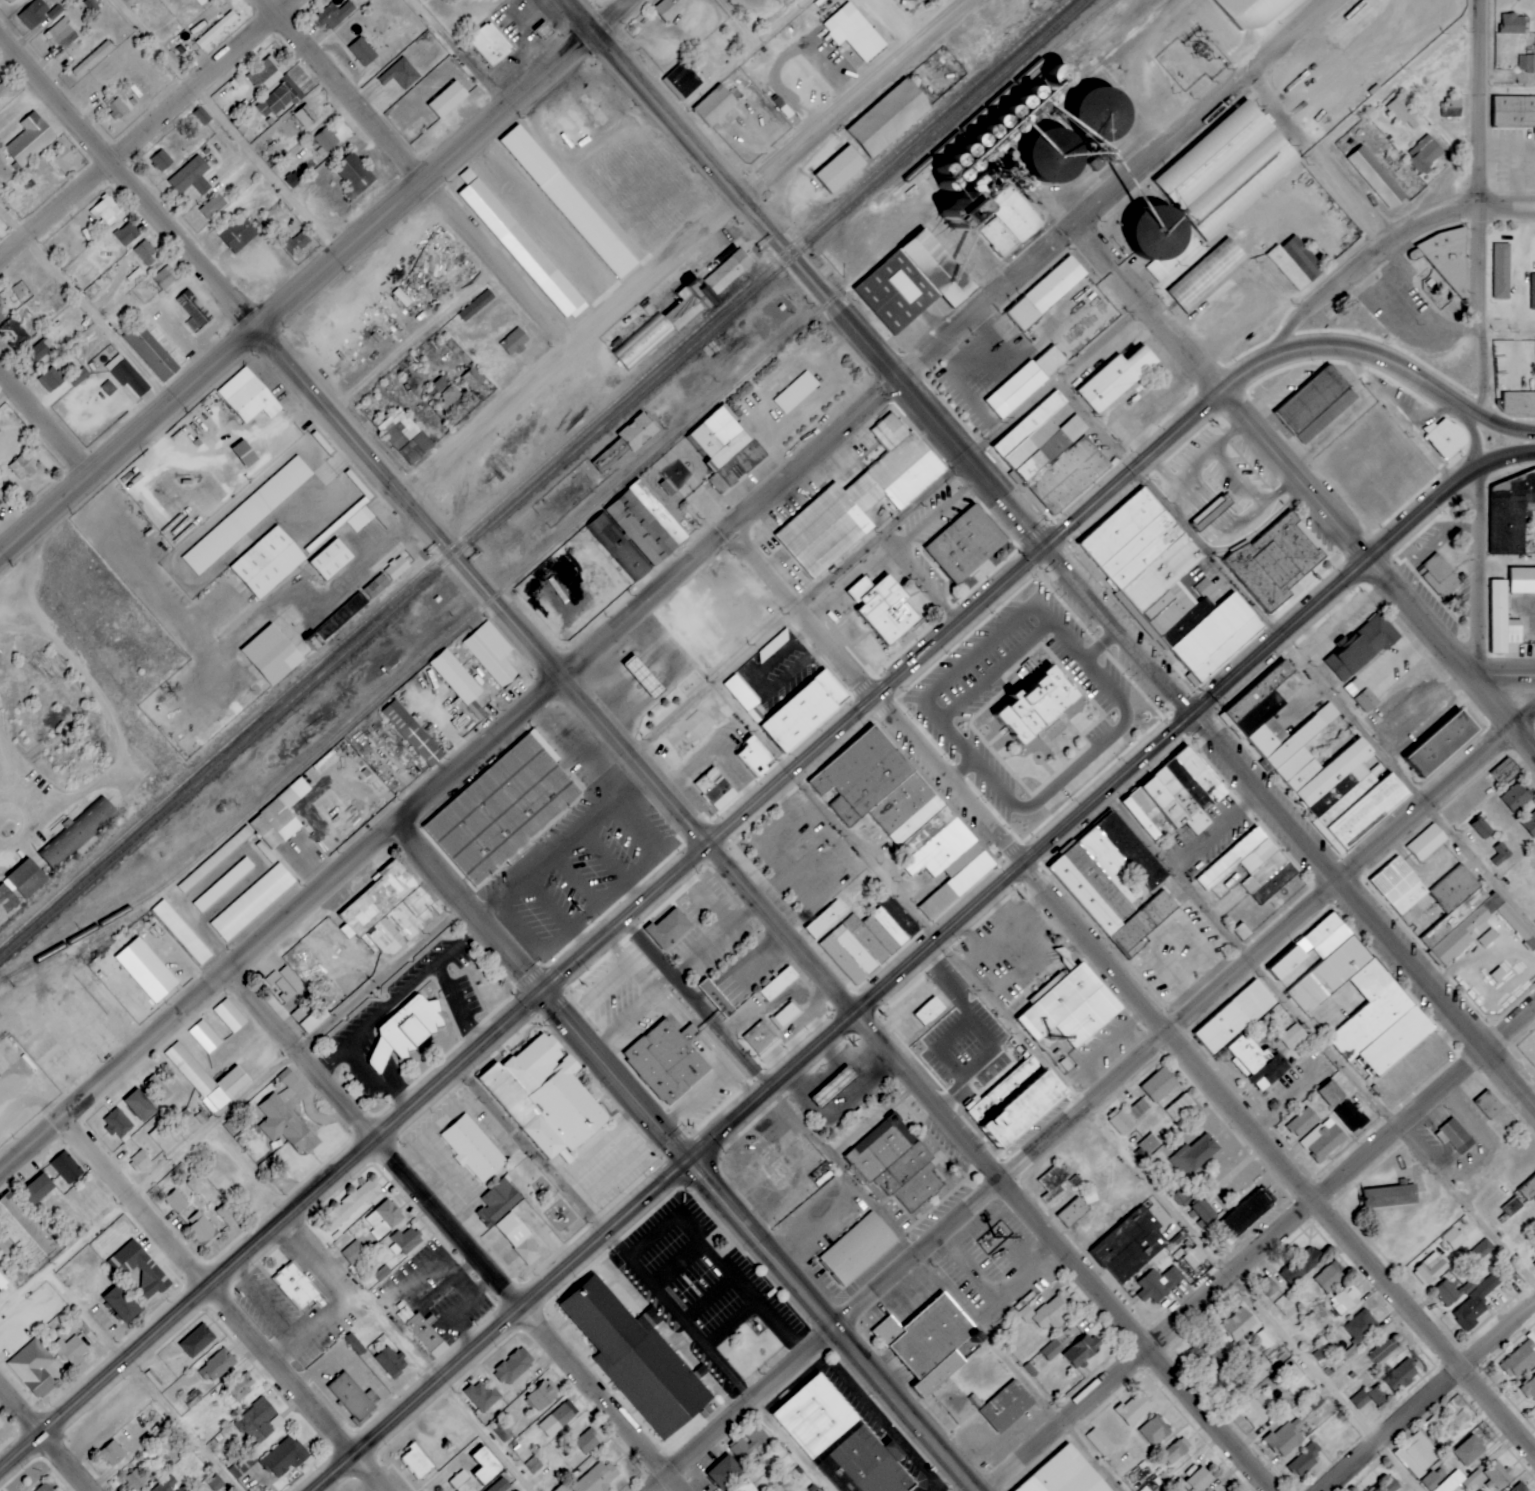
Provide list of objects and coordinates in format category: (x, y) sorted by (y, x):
building: (9, 1)
building: (201, 2)
building: (667, 9)
building: (1251, 11)
building: (33, 14)
road: (578, 14)
building: (334, 15)
road: (607, 15)
road: (900, 22)
building: (1514, 24)
building: (217, 30)
building: (853, 33)
building: (61, 34)
building: (370, 39)
building: (490, 44)
building: (362, 52)
road: (456, 52)
building: (761, 57)
building: (92, 59)
power substation: (1190, 59)
building: (1526, 63)
building: (401, 74)
building: (264, 75)
building: (682, 81)
building: (4, 88)
road: (1505, 93)
railway: (999, 96)
road: (851, 98)
building: (281, 99)
building: (448, 100)
building: (716, 105)
road: (1476, 105)
building: (1453, 107)
building: (117, 108)
building: (1403, 111)
building: (1515, 111)
building: (1102, 113)
building: (306, 116)
building: (889, 118)
road: (143, 128)
road: (227, 129)
building: (326, 139)
building: (29, 140)
building: (1426, 155)
building: (1058, 157)
road: (1321, 159)
building: (62, 160)
building: (161, 161)
building: (840, 170)
building: (354, 175)
building: (191, 177)
road: (420, 177)
road: (415, 178)
building: (1375, 178)
road: (125, 180)
road: (1124, 192)
building: (568, 202)
road: (528, 206)
building: (213, 207)
building: (108, 211)
road: (1457, 211)
building: (235, 234)
building: (126, 235)
building: (295, 242)
building: (520, 246)
building: (146, 253)
building: (1297, 263)
building: (1500, 271)
building: (1207, 276)
building: (164, 278)
building: (914, 283)
road: (816, 289)
building: (1532, 292)
building: (1046, 293)
road: (86, 303)
road: (1309, 304)
building: (476, 306)
building: (683, 310)
building: (193, 311)
road: (1152, 311)
building: (3, 312)
road: (1476, 313)
road: (1505, 324)
building: (19, 330)
building: (516, 342)
road: (422, 345)
building: (154, 349)
road: (574, 352)
road: (1446, 361)
road: (1387, 364)
building: (127, 375)
building: (78, 377)
building: (473, 379)
building: (1116, 379)
building: (51, 380)
road: (1057, 382)
building: (1025, 383)
building: (796, 393)
building: (248, 397)
building: (448, 399)
building: (1310, 400)
building: (1519, 405)
road: (43, 424)
building: (1075, 428)
road: (1406, 429)
road: (1517, 430)
road: (1471, 432)
building: (405, 437)
building: (1446, 437)
building: (1031, 439)
road: (125, 441)
building: (627, 443)
building: (727, 446)
road: (1153, 453)
building: (244, 454)
building: (24, 467)
railway: (534, 471)
building: (1070, 476)
railway: (542, 478)
building: (2, 494)
building: (861, 499)
railway: (596, 505)
building: (1511, 515)
building: (247, 516)
building: (360, 519)
building: (646, 524)
road: (1349, 535)
road: (5, 540)
building: (966, 545)
traffic signals: (1043, 548)
building: (331, 560)
road: (1506, 560)
building: (1277, 562)
building: (267, 563)
building: (397, 568)
road: (1354, 568)
road: (1476, 571)
building: (1440, 577)
road: (920, 581)
building: (1522, 581)
building: (1168, 585)
building: (1205, 587)
building: (884, 608)
road: (800, 612)
road: (807, 613)
building: (1499, 617)
road: (1116, 631)
building: (1516, 632)
road: (1099, 644)
building: (1362, 648)
building: (272, 654)
building: (490, 654)
road: (1078, 654)
road: (1297, 655)
road: (553, 673)
building: (644, 675)
road: (1504, 675)
building: (459, 681)
building: (741, 693)
building: (1359, 694)
building: (1037, 705)
building: (805, 711)
road: (1504, 714)
traffic signals: (1189, 715)
road: (1524, 715)
building: (411, 733)
building: (1442, 743)
building: (755, 757)
building: (1318, 763)
road: (961, 769)
building: (1506, 772)
building: (1201, 774)
road: (951, 780)
road: (452, 785)
building: (716, 789)
building: (1518, 796)
building: (1166, 803)
road: (1424, 803)
building: (503, 809)
building: (906, 814)
building: (279, 816)
building: (1530, 824)
building: (1481, 828)
building: (79, 832)
building: (1427, 843)
building: (1500, 854)
road: (1407, 857)
road: (867, 858)
building: (1253, 866)
building: (1115, 882)
building: (223, 883)
building: (20, 886)
building: (251, 903)
building: (1446, 909)
road: (1361, 910)
building: (390, 911)
road: (471, 911)
building: (826, 919)
building: (669, 929)
building: (1243, 931)
building: (180, 932)
building: (869, 939)
building: (1288, 963)
building: (145, 969)
building: (284, 984)
building: (778, 985)
road: (951, 988)
traffic signals: (539, 994)
building: (716, 997)
building: (1386, 997)
building: (1073, 1006)
road: (521, 1009)
building: (930, 1011)
building: (229, 1015)
building: (786, 1016)
building: (1235, 1017)
building: (313, 1020)
road: (1508, 1024)
building: (406, 1030)
road: (982, 1034)
building: (204, 1035)
building: (1294, 1037)
building: (761, 1039)
road: (1319, 1041)
road: (306, 1056)
building: (666, 1062)
building: (1258, 1062)
building: (288, 1078)
building: (207, 1079)
building: (839, 1082)
building: (1160, 1085)
building: (158, 1089)
building: (1332, 1094)
building: (545, 1098)
building: (1017, 1101)
building: (1487, 1105)
building: (140, 1106)
building: (1139, 1108)
building: (1180, 1108)
road: (760, 1109)
road: (229, 1110)
building: (1351, 1116)
building: (1121, 1122)
building: (1303, 1122)
building: (117, 1124)
building: (285, 1125)
building: (1455, 1136)
building: (162, 1139)
building: (1327, 1141)
building: (1147, 1147)
building: (473, 1148)
road: (535, 1152)
building: (1194, 1156)
building: (140, 1162)
road: (1276, 1162)
traffic signals: (699, 1164)
building: (896, 1166)
road: (248, 1169)
building: (63, 1171)
building: (1054, 1182)
building: (194, 1184)
road: (993, 1187)
building: (1527, 1187)
building: (38, 1188)
building: (1391, 1195)
building: (500, 1200)
building: (176, 1202)
road: (876, 1204)
road: (138, 1205)
building: (353, 1205)
building: (1513, 1206)
building: (1074, 1212)
building: (1203, 1213)
building: (1246, 1213)
building: (228, 1214)
building: (384, 1218)
building: (202, 1229)
building: (24, 1230)
building: (518, 1238)
road: (759, 1238)
building: (1534, 1239)
building: (1131, 1245)
building: (858, 1248)
building: (354, 1253)
road: (1063, 1255)
building: (1195, 1257)
building: (1301, 1265)
building: (1431, 1268)
building: (139, 1269)
building: (382, 1273)
road: (1237, 1275)
building: (1329, 1278)
building: (2, 1282)
building: (1159, 1283)
building: (1268, 1286)
building: (295, 1287)
building: (1449, 1289)
road: (1257, 1297)
building: (1345, 1299)
building: (121, 1303)
building: (1475, 1303)
road: (529, 1312)
building: (1047, 1312)
building: (648, 1320)
building: (1239, 1324)
building: (1361, 1326)
building: (426, 1334)
building: (196, 1341)
road: (413, 1349)
building: (1052, 1349)
building: (71, 1350)
building: (1083, 1350)
building: (1382, 1350)
building: (934, 1352)
building: (1214, 1357)
building: (636, 1358)
building: (1520, 1359)
building: (392, 1360)
building: (216, 1365)
building: (514, 1366)
building: (34, 1368)
building: (1257, 1371)
building: (1293, 1374)
building: (1402, 1374)
building: (241, 1386)
road: (300, 1388)
building: (1530, 1389)
road: (1433, 1394)
building: (483, 1396)
building: (542, 1396)
building: (350, 1397)
building: (1313, 1398)
building: (1360, 1399)
building: (1005, 1407)
building: (1135, 1408)
road: (21, 1411)
building: (1255, 1412)
building: (259, 1420)
building: (557, 1420)
road: (187, 1424)
building: (0, 1427)
building: (1153, 1431)
building: (1286, 1437)
building: (841, 1440)
building: (587, 1442)
building: (748, 1444)
road: (789, 1445)
building: (1470, 1450)
building: (1177, 1451)
building: (112, 1453)
building: (1418, 1454)
building: (284, 1457)
building: (1305, 1460)
road: (70, 1462)
building: (417, 1462)
building: (533, 1464)
building: (486, 1465)
building: (725, 1472)
building: (1065, 1474)
building: (1497, 1475)
building: (596, 1478)
building: (459, 1479)
building: (1199, 1480)
building: (1460, 1480)
building: (131, 1482)
building: (216, 1483)
building: (166, 1484)
building: (500, 1485)
building: (746, 1486)
building: (45, 1487)
building: (1520, 1487)
building: (184, 1488)
building: (560, 1488)
building: (458, 1490)

